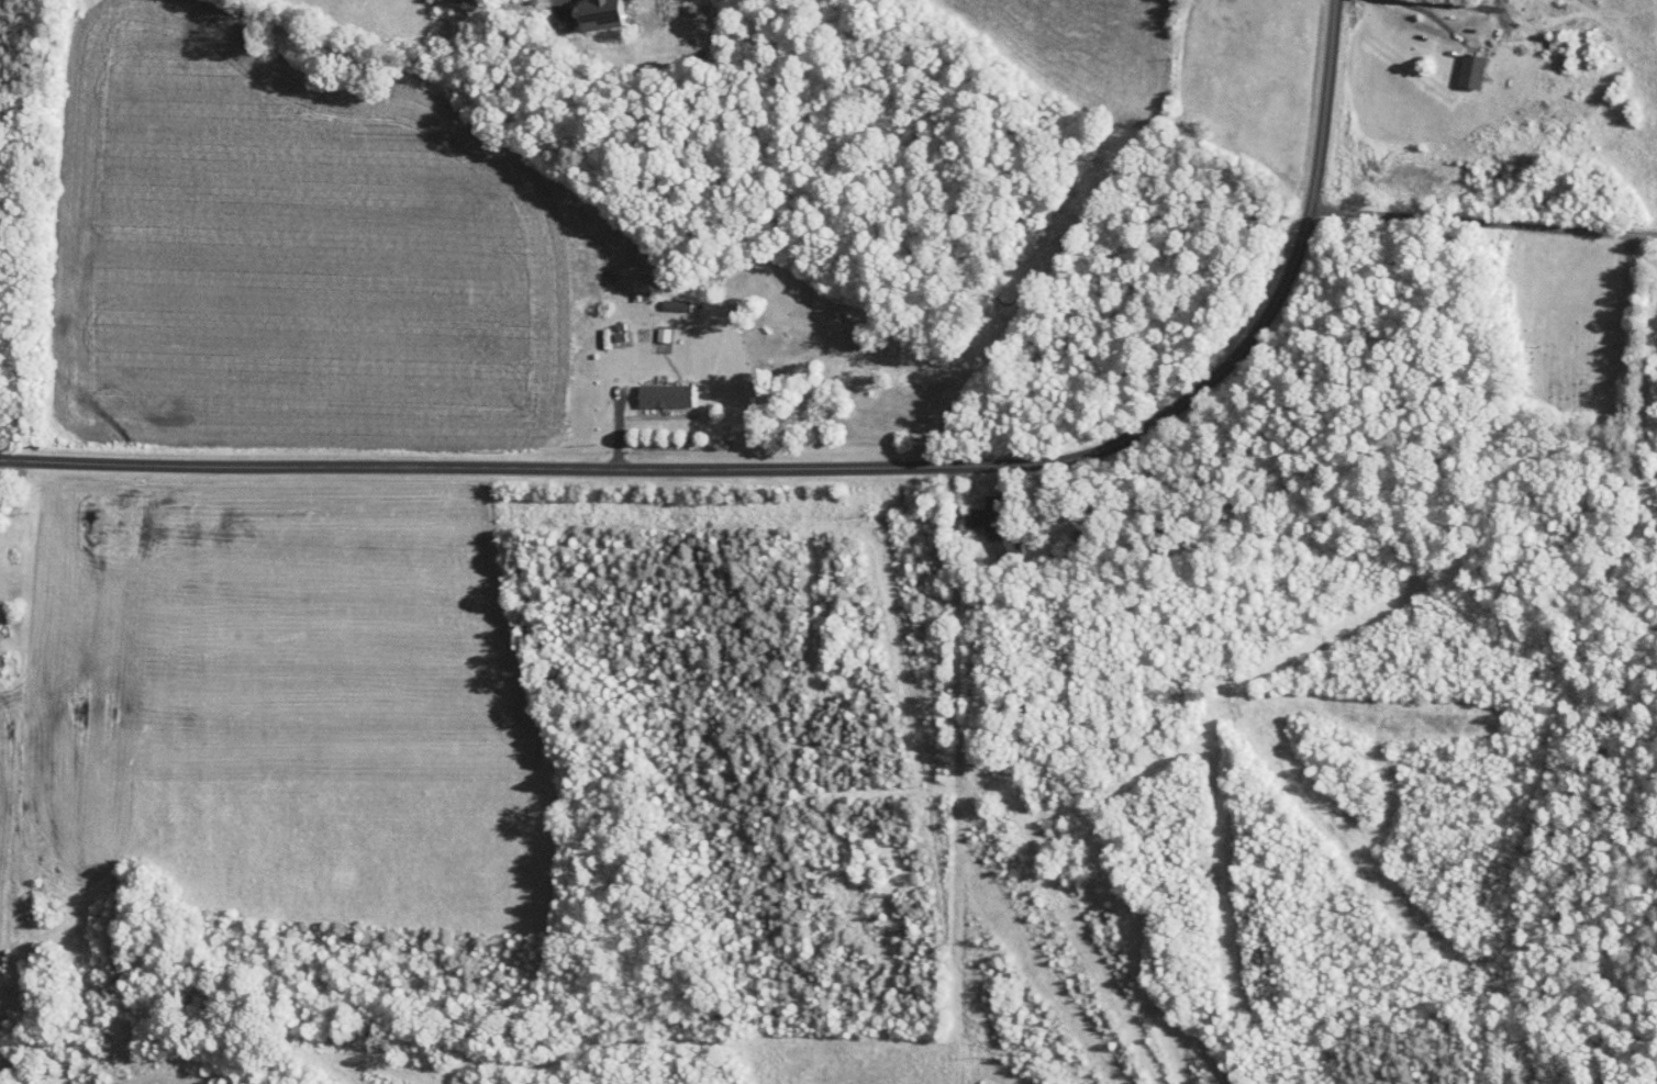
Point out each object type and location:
road: (577, 8)
road: (1403, 10)
building: (1457, 63)
road: (1483, 215)
building: (663, 298)
park: (1570, 321)
building: (650, 388)
road: (823, 469)
road: (1015, 483)
building: (959, 510)
road: (969, 775)

